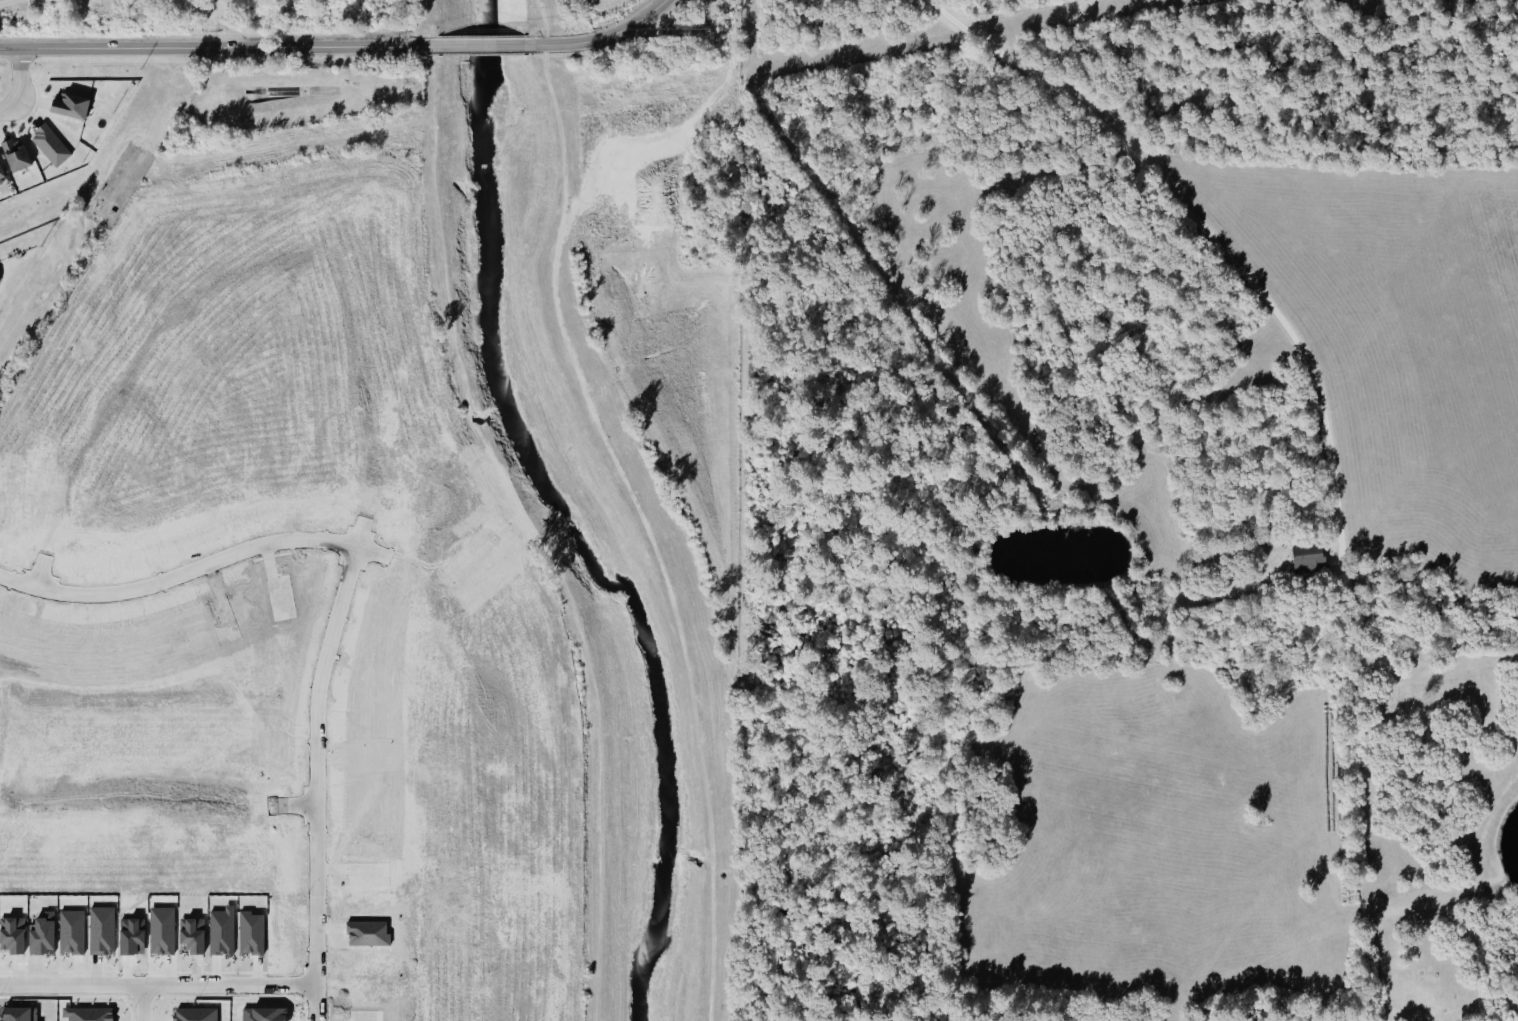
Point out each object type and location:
road: (605, 36)
road: (481, 46)
road: (212, 49)
road: (17, 86)
building: (70, 106)
building: (50, 145)
building: (15, 155)
building: (1, 172)
road: (1205, 234)
road: (133, 366)
road: (346, 547)
building: (1305, 558)
park: (5, 659)
road: (202, 984)
road: (142, 1002)
road: (317, 1002)

